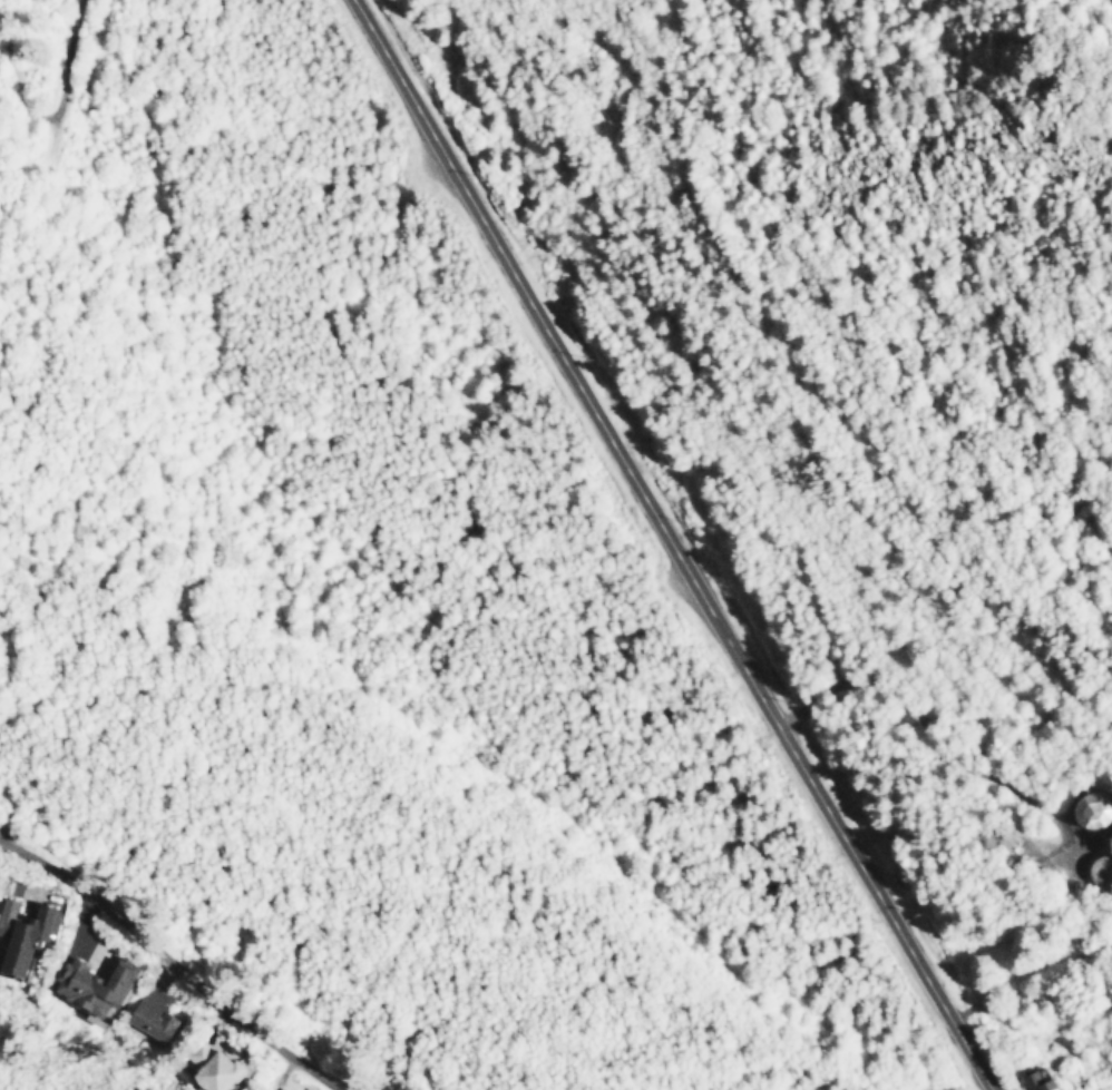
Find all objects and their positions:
road: (66, 90)
road: (673, 543)
building: (1090, 809)
building: (1100, 868)
building: (19, 931)
road: (174, 962)
building: (85, 982)
building: (146, 1011)
building: (206, 1066)
building: (1036, 1079)
building: (281, 1088)

